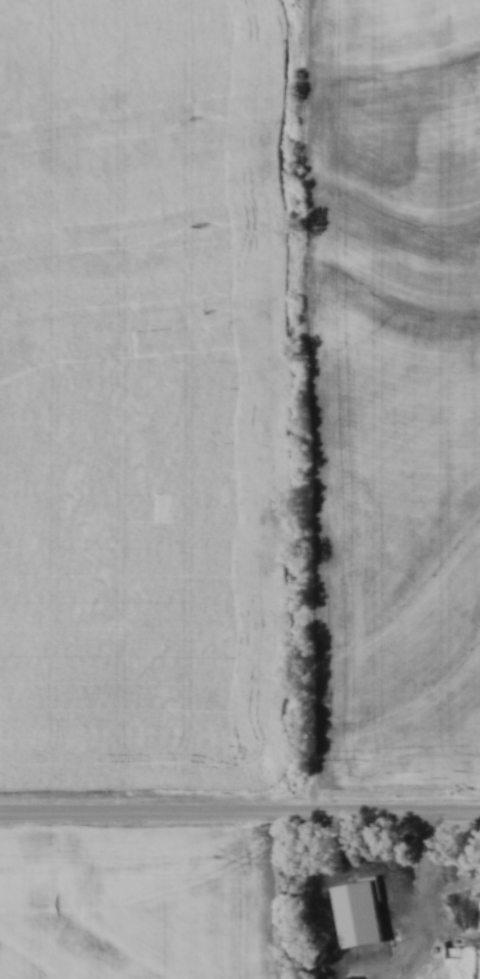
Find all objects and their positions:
road: (240, 810)
road: (421, 912)
building: (358, 922)

